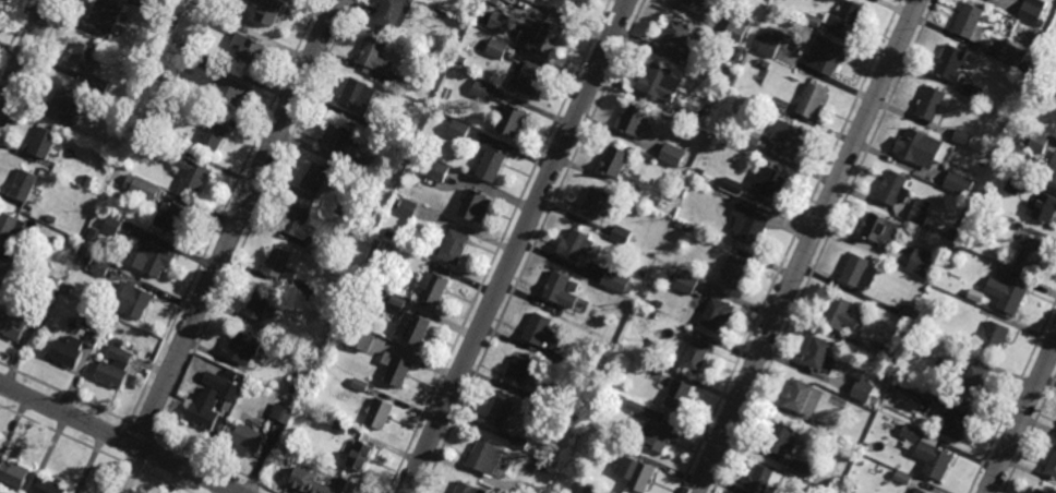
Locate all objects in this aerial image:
building: (147, 3)
building: (568, 4)
building: (697, 4)
building: (831, 4)
building: (1032, 10)
building: (272, 12)
building: (393, 13)
building: (847, 16)
building: (106, 17)
building: (811, 20)
building: (500, 21)
building: (968, 23)
building: (736, 28)
road: (14, 33)
building: (552, 37)
building: (768, 39)
building: (679, 41)
building: (495, 47)
building: (249, 50)
building: (737, 50)
road: (24, 55)
building: (1013, 55)
building: (375, 56)
building: (821, 56)
building: (83, 58)
building: (460, 59)
building: (765, 63)
building: (948, 63)
road: (31, 69)
building: (187, 69)
building: (531, 77)
building: (396, 82)
building: (98, 84)
building: (661, 85)
building: (480, 87)
building: (797, 88)
building: (973, 91)
building: (229, 93)
building: (1052, 93)
building: (358, 96)
building: (64, 99)
building: (812, 103)
building: (928, 106)
building: (694, 113)
building: (512, 120)
building: (635, 120)
building: (141, 121)
building: (379, 124)
building: (457, 130)
building: (963, 136)
building: (214, 137)
building: (339, 139)
building: (788, 140)
building: (1036, 140)
building: (748, 142)
building: (45, 143)
building: (917, 148)
building: (671, 154)
building: (616, 161)
building: (492, 164)
building: (357, 166)
building: (1049, 169)
building: (436, 170)
building: (699, 171)
building: (634, 172)
building: (194, 176)
building: (316, 180)
building: (1015, 180)
building: (770, 181)
building: (959, 183)
building: (25, 185)
building: (732, 185)
building: (94, 187)
building: (142, 187)
building: (891, 189)
building: (395, 202)
building: (596, 203)
building: (477, 205)
building: (974, 205)
building: (407, 207)
building: (1040, 209)
road: (224, 212)
building: (919, 212)
building: (970, 216)
road: (255, 217)
building: (362, 217)
building: (51, 218)
building: (172, 218)
road: (238, 224)
building: (679, 224)
building: (111, 225)
building: (301, 225)
building: (751, 225)
building: (687, 227)
building: (8, 229)
building: (878, 230)
building: (94, 233)
building: (389, 233)
building: (621, 233)
building: (579, 245)
building: (85, 246)
building: (456, 246)
road: (497, 246)
road: (518, 246)
road: (531, 246)
road: (789, 246)
road: (806, 246)
road: (824, 246)
building: (956, 251)
building: (1029, 253)
building: (24, 257)
building: (147, 258)
building: (921, 262)
building: (281, 265)
building: (100, 268)
building: (2, 272)
building: (641, 273)
building: (373, 274)
building: (735, 274)
building: (860, 274)
building: (55, 280)
building: (615, 280)
building: (685, 284)
building: (65, 288)
building: (436, 288)
building: (563, 289)
building: (645, 292)
building: (310, 293)
building: (383, 294)
building: (1004, 296)
building: (134, 301)
building: (396, 303)
building: (260, 304)
building: (0, 310)
building: (35, 310)
building: (652, 313)
building: (909, 313)
building: (720, 314)
building: (841, 315)
building: (13, 326)
building: (416, 328)
building: (543, 330)
building: (989, 338)
building: (94, 339)
building: (362, 340)
building: (243, 348)
building: (317, 350)
building: (69, 351)
building: (819, 353)
building: (891, 354)
building: (697, 357)
building: (116, 365)
building: (658, 369)
building: (398, 370)
building: (520, 372)
building: (231, 374)
building: (971, 383)
building: (359, 384)
building: (224, 386)
building: (863, 392)
road: (63, 393)
building: (680, 395)
building: (540, 396)
road: (1012, 396)
building: (800, 397)
building: (207, 412)
building: (592, 412)
building: (283, 413)
building: (501, 414)
building: (381, 416)
road: (1021, 417)
building: (951, 421)
building: (817, 425)
building: (341, 426)
road: (141, 429)
building: (910, 433)
road: (1029, 433)
building: (662, 436)
road: (119, 437)
building: (251, 438)
road: (121, 441)
building: (782, 441)
building: (519, 442)
building: (611, 445)
building: (285, 448)
road: (94, 449)
road: (148, 453)
building: (361, 455)
building: (487, 457)
road: (215, 461)
building: (929, 461)
building: (1049, 464)
building: (544, 468)
building: (802, 468)
building: (636, 472)
building: (15, 477)
building: (902, 477)
building: (305, 480)
building: (764, 481)
building: (52, 488)
building: (591, 488)
building: (818, 489)
building: (469, 490)
building: (530, 491)
building: (1039, 491)
building: (915, 492)

